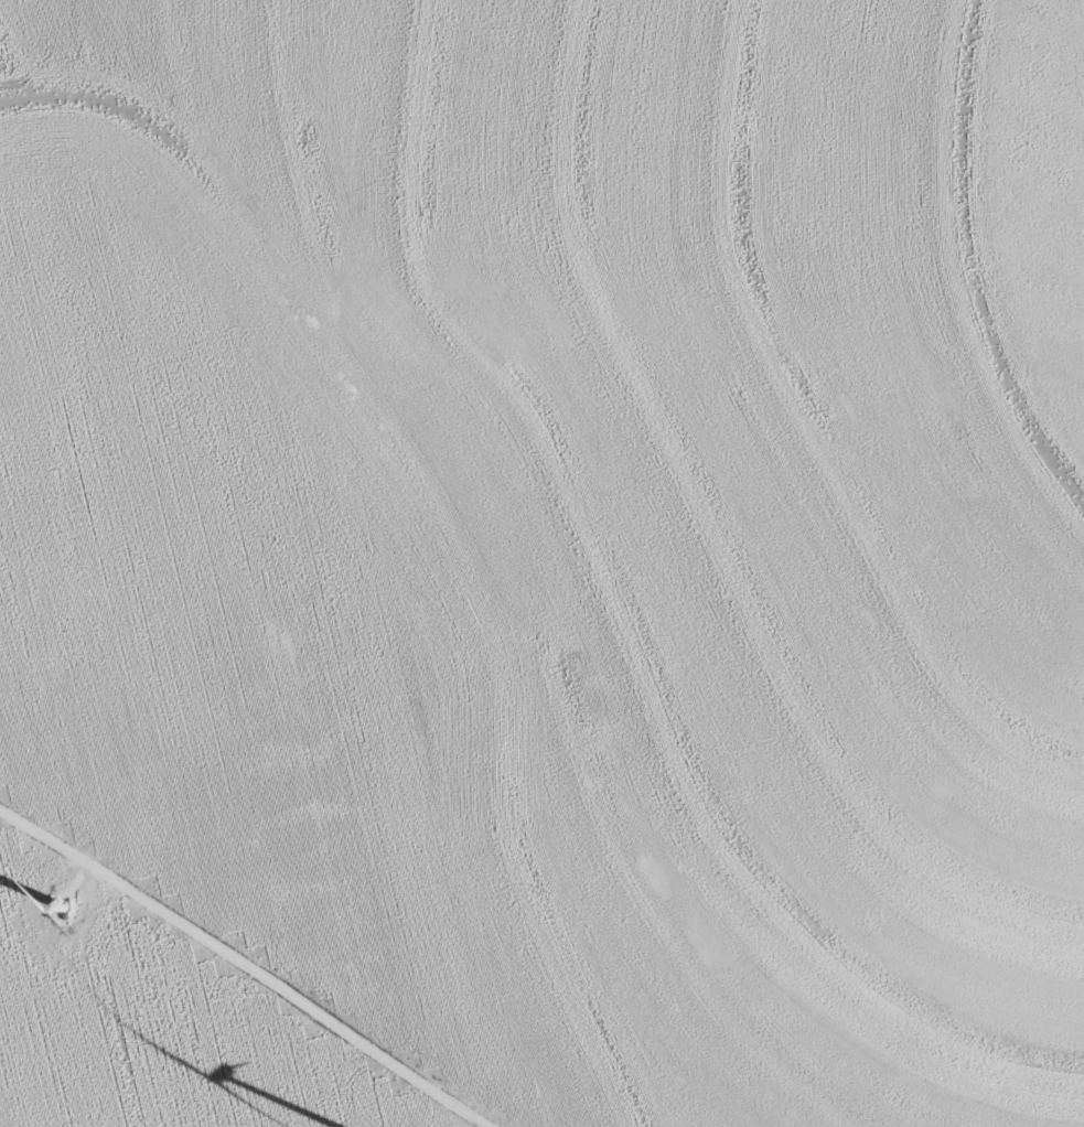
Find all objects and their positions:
wind turbine: (42, 910)
road: (251, 966)

